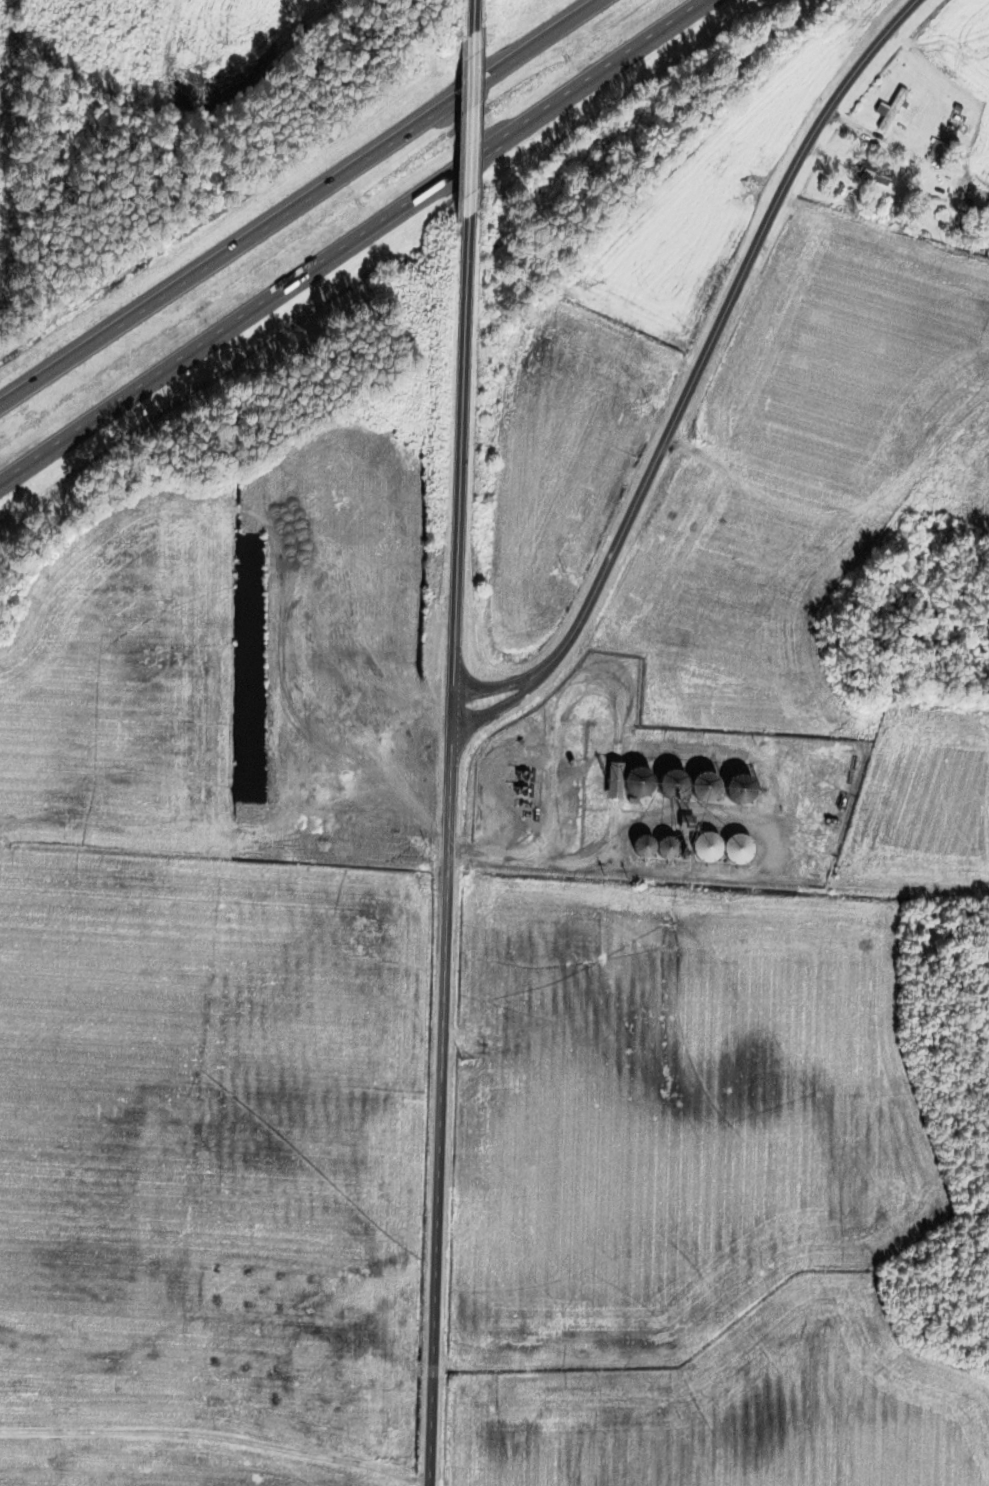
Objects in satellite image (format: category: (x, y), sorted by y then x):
road: (472, 18)
building: (889, 111)
building: (954, 121)
road: (468, 133)
building: (937, 150)
building: (874, 174)
road: (313, 209)
road: (357, 242)
road: (697, 369)
road: (501, 705)
building: (702, 786)
building: (660, 840)
building: (641, 845)
building: (720, 848)
road: (451, 857)
road: (227, 1468)

